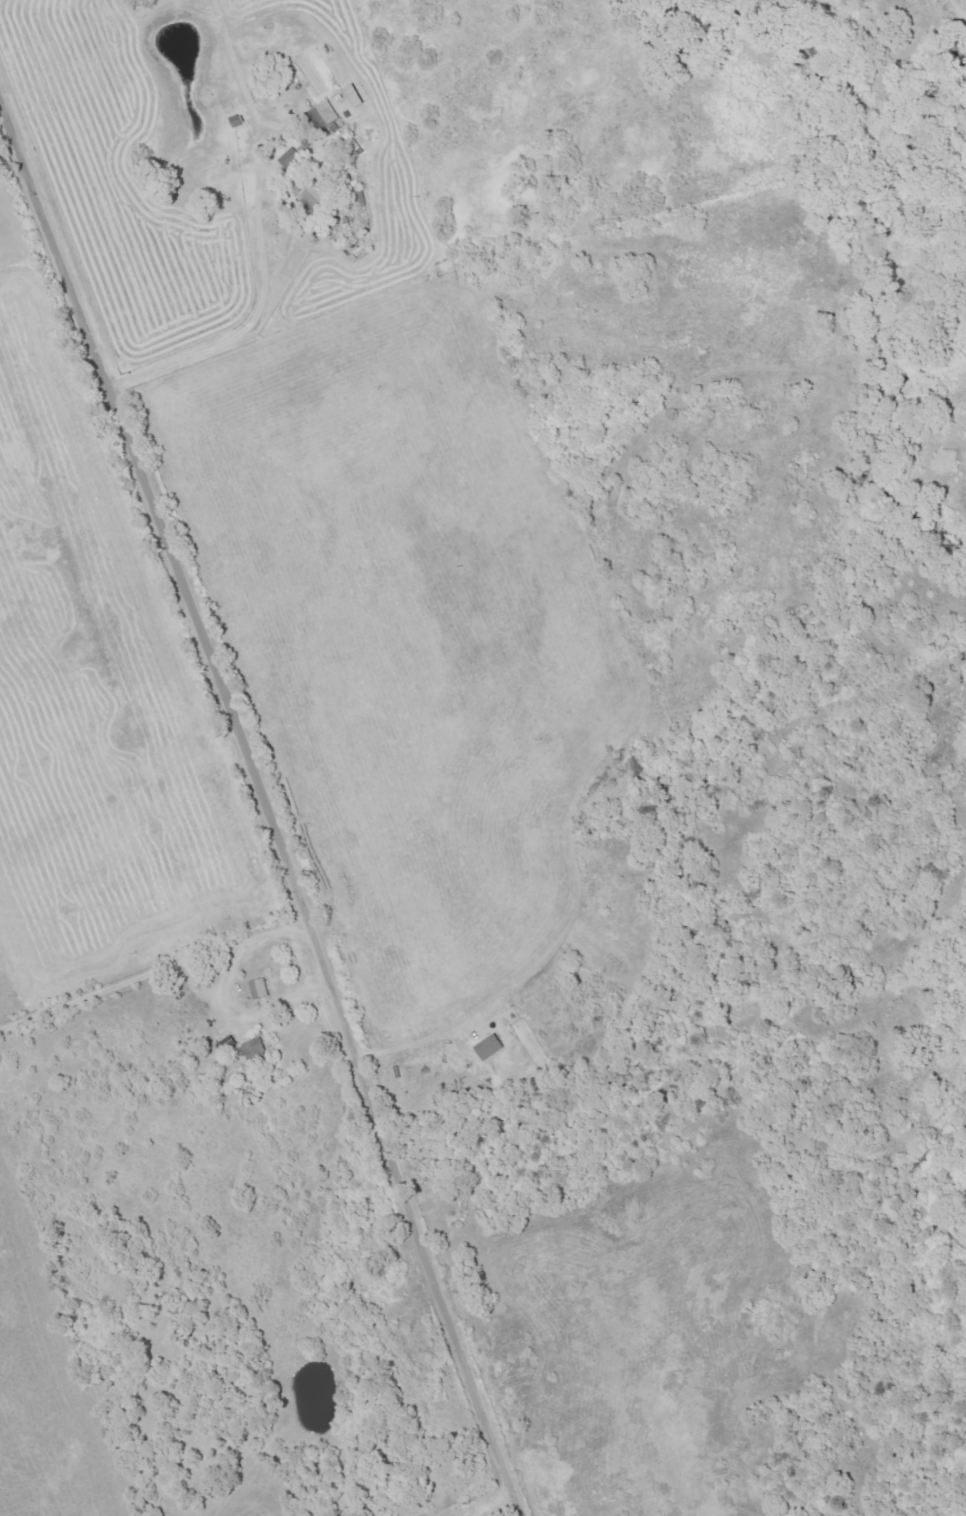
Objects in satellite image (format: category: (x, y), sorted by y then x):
road: (251, 109)
building: (325, 114)
building: (308, 193)
road: (261, 285)
road: (269, 811)
building: (260, 988)
road: (222, 992)
building: (490, 1046)

